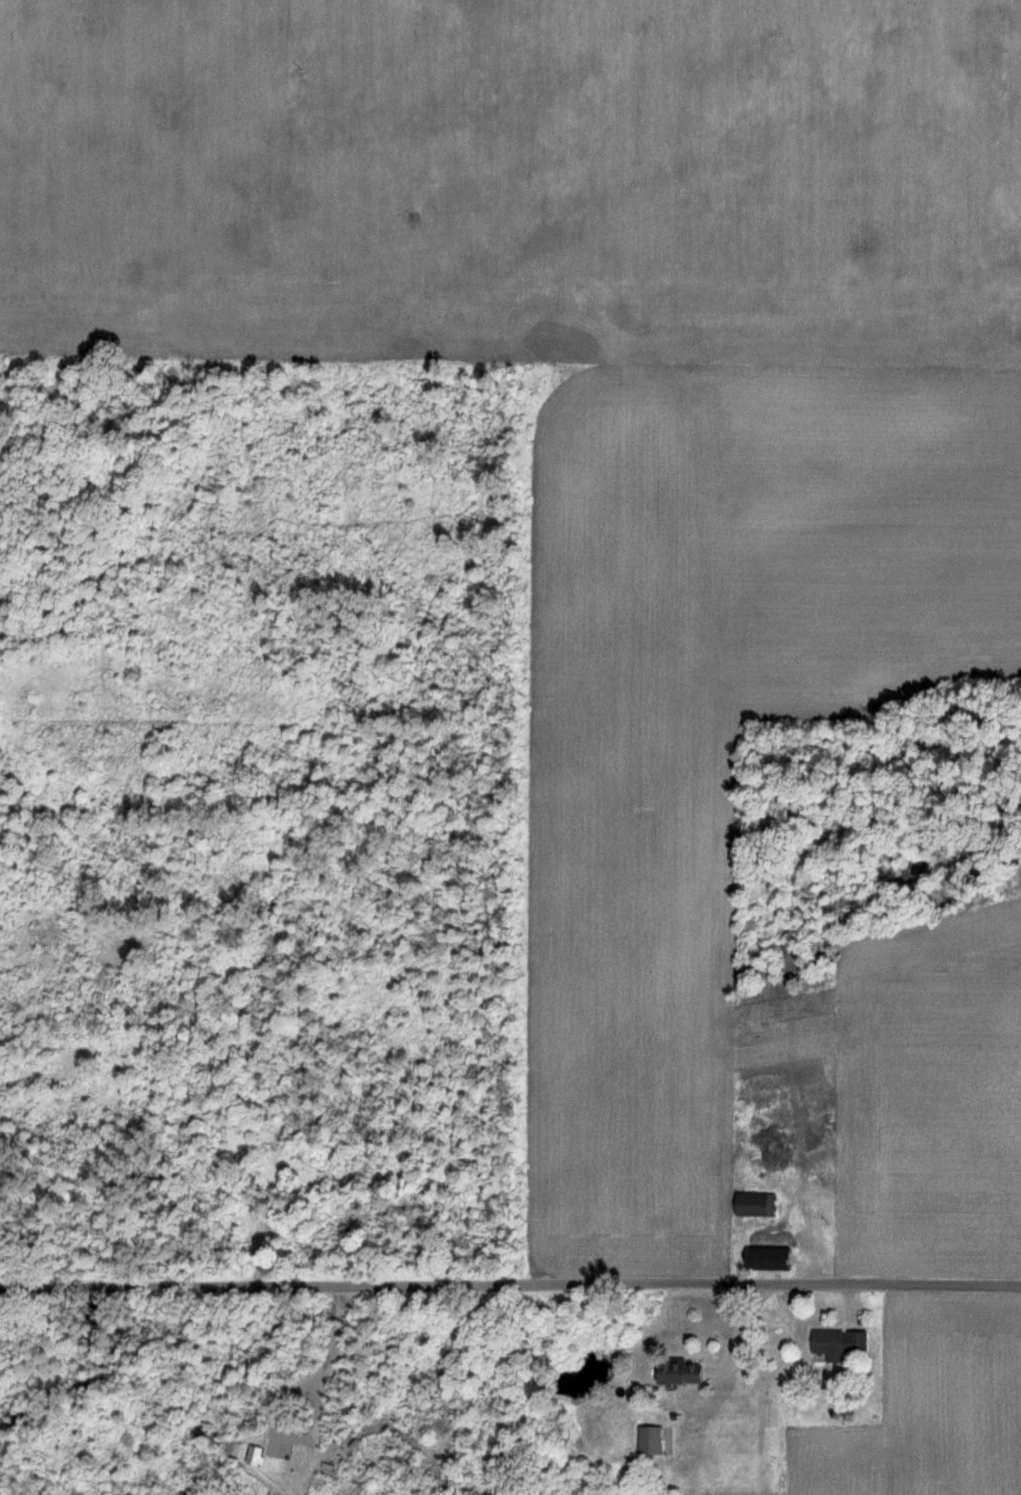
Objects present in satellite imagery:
building: (752, 1203)
building: (761, 1257)
road: (510, 1286)
road: (741, 1333)
building: (834, 1343)
building: (678, 1372)
building: (653, 1440)

